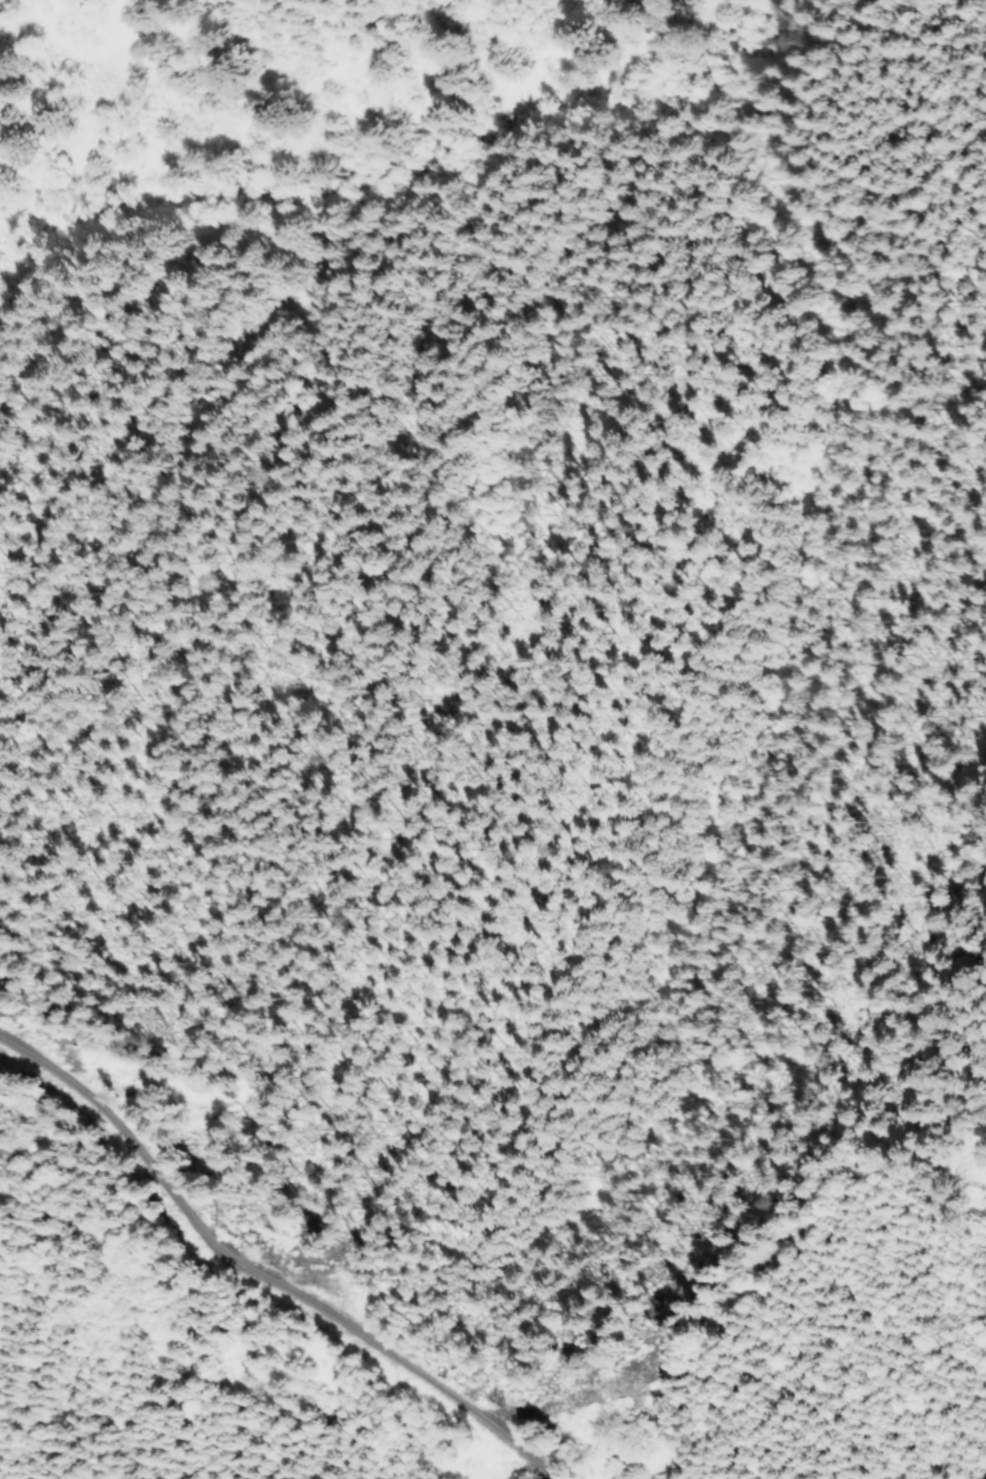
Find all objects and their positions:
road: (256, 1272)

